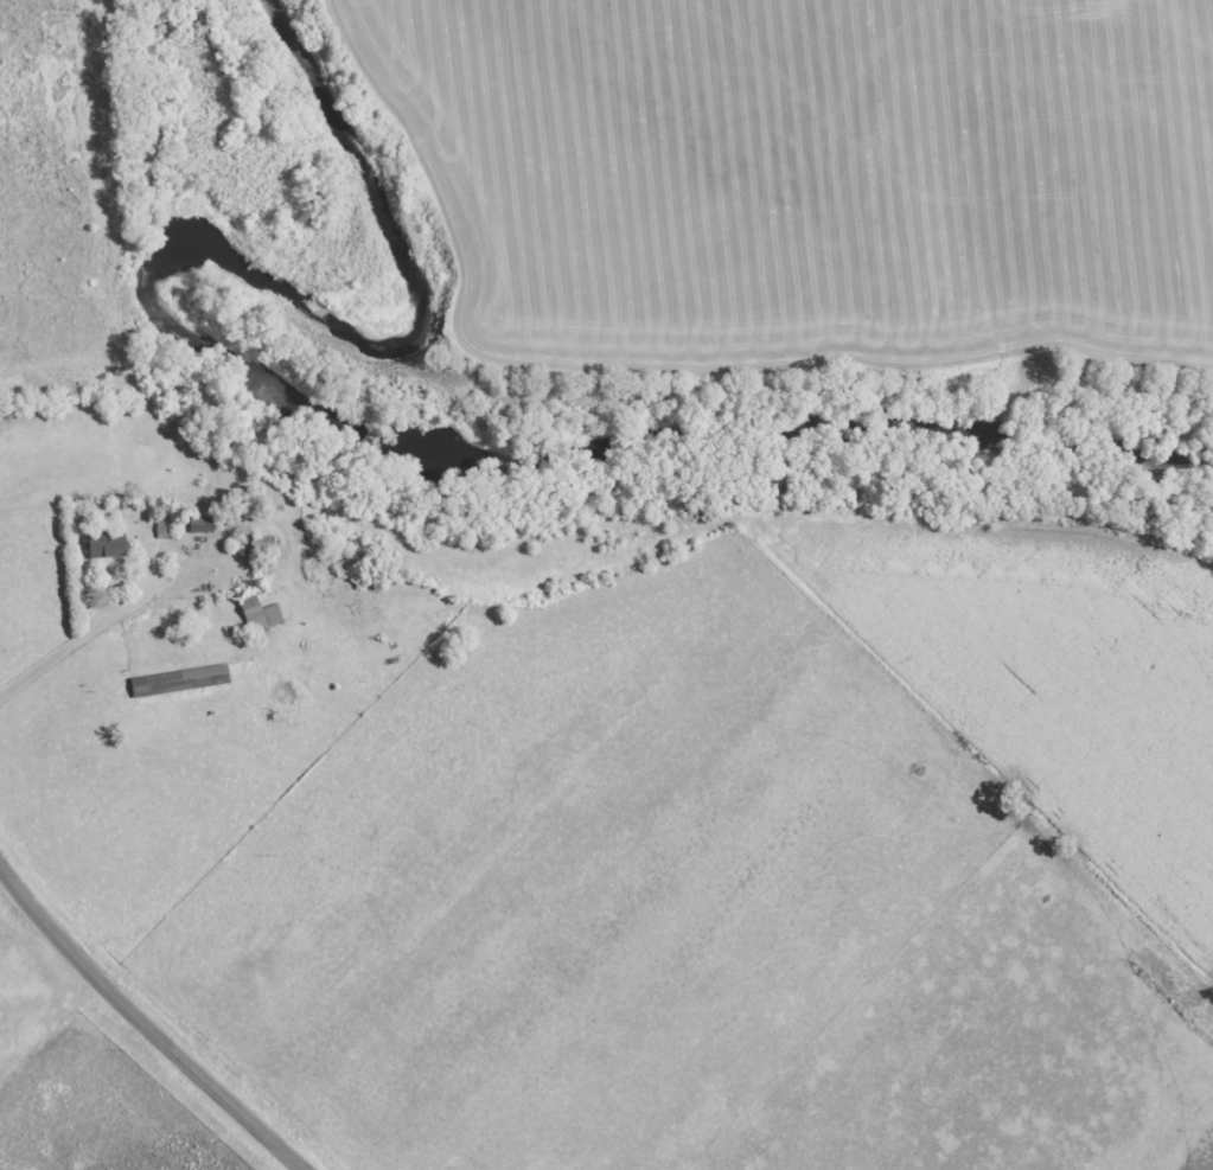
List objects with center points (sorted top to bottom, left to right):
building: (194, 524)
building: (101, 543)
building: (255, 614)
building: (175, 680)
road: (142, 1024)

